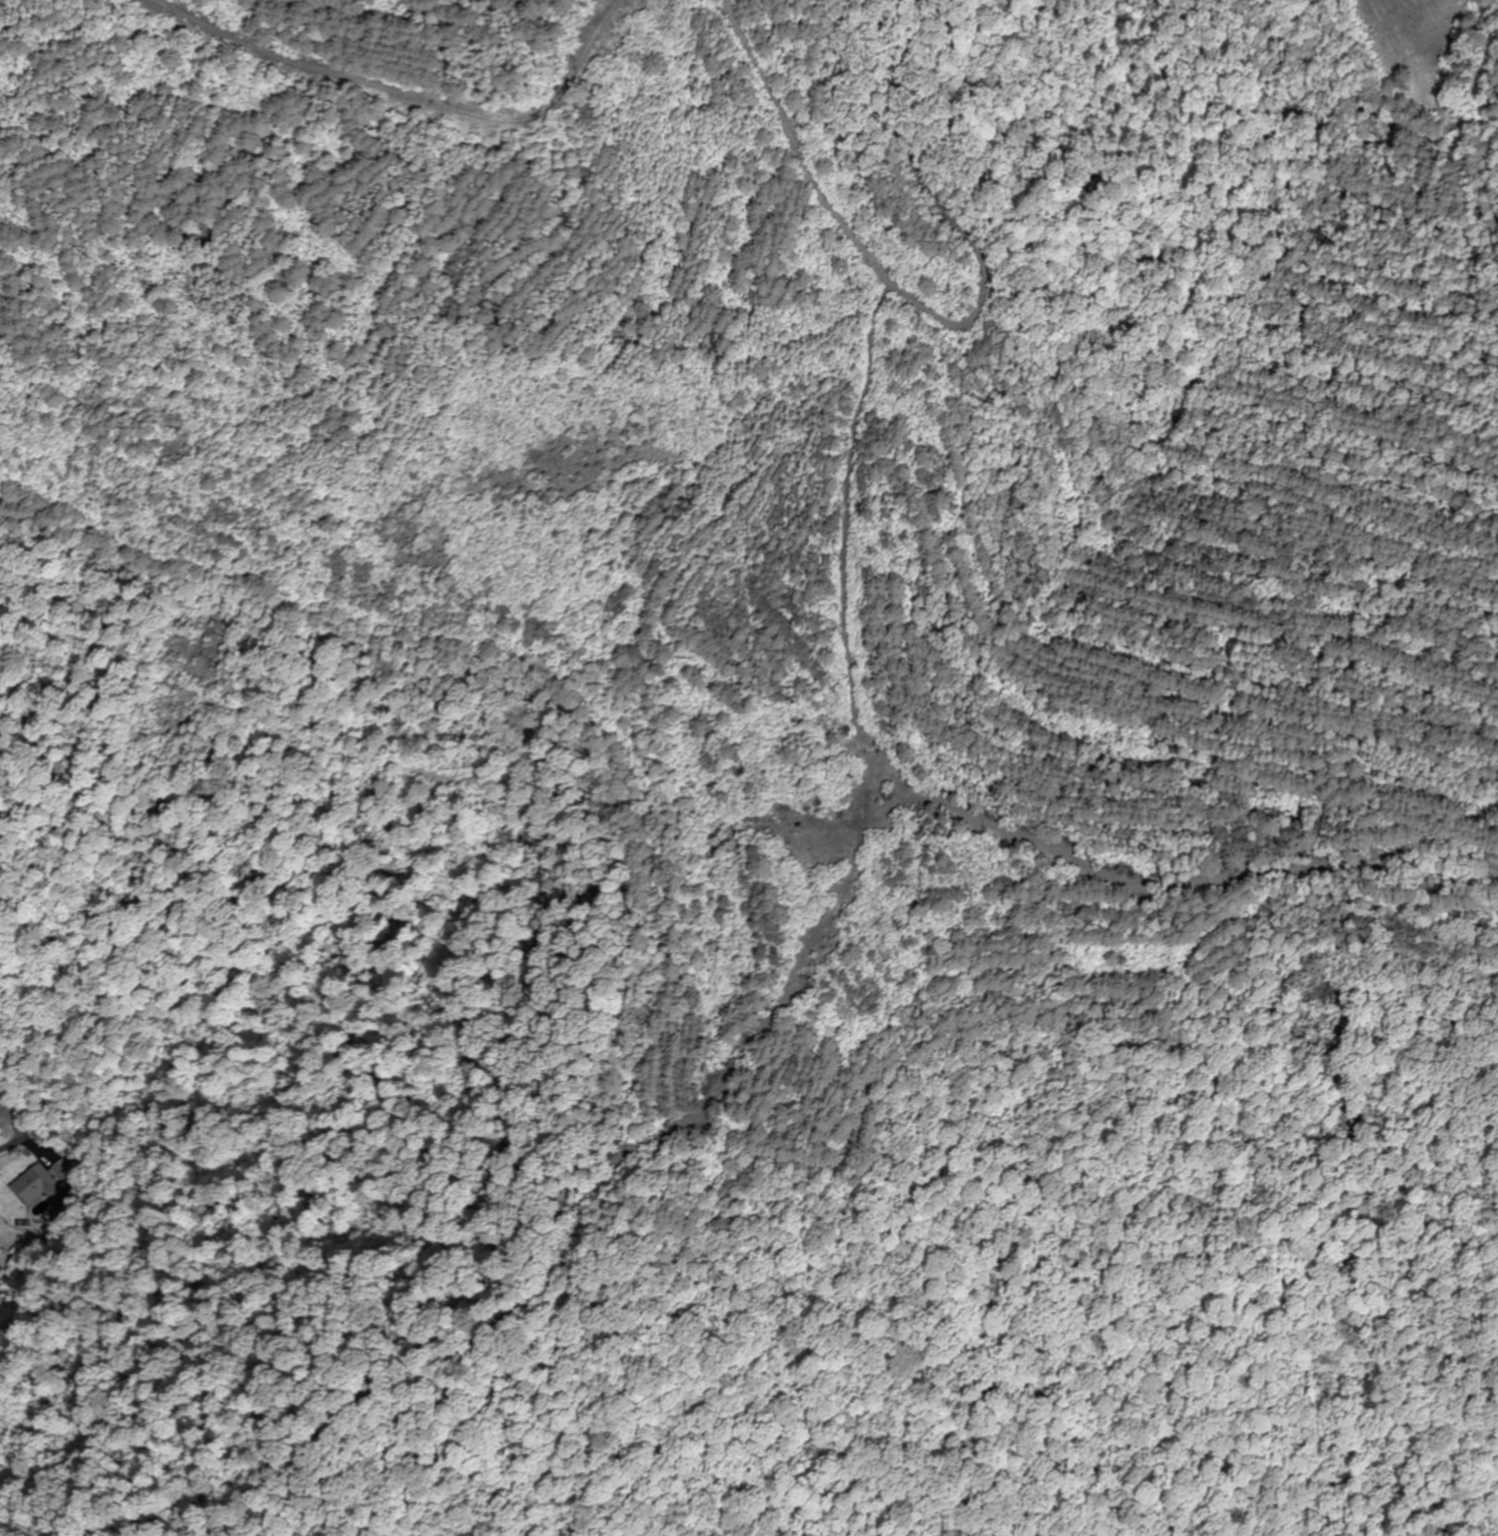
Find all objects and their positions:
road: (13, 1144)
building: (61, 1171)
building: (35, 1186)

